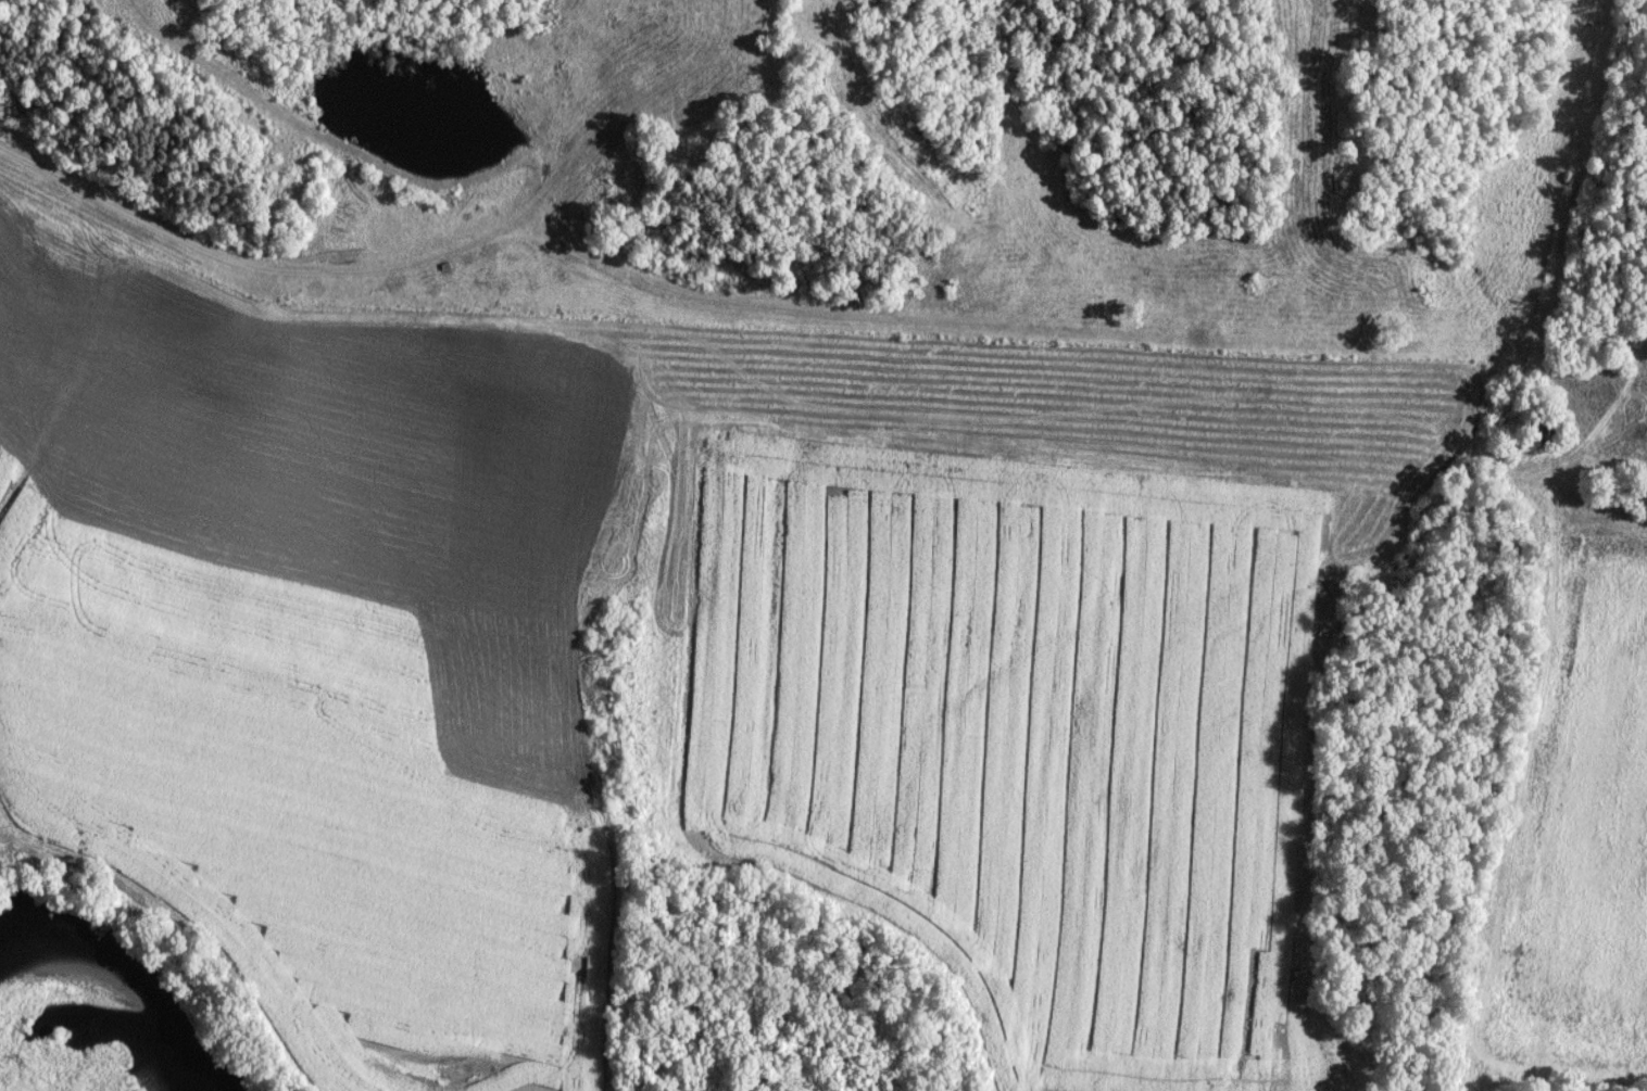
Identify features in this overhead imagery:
road: (847, 402)
road: (1611, 471)

